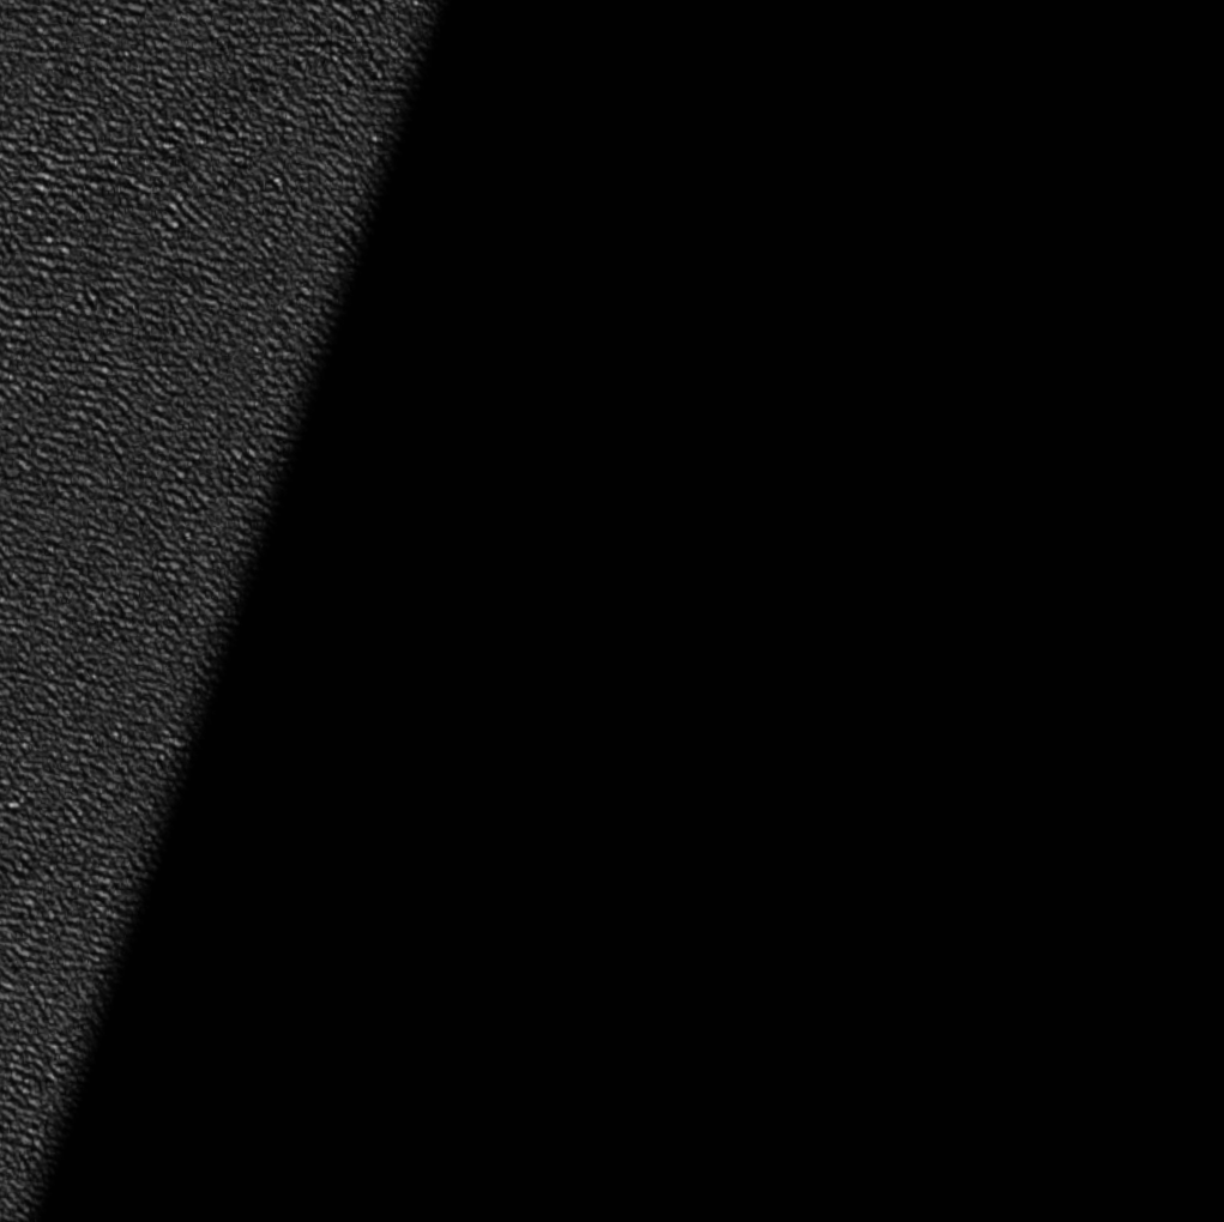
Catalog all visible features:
river: (1165, 1090)

